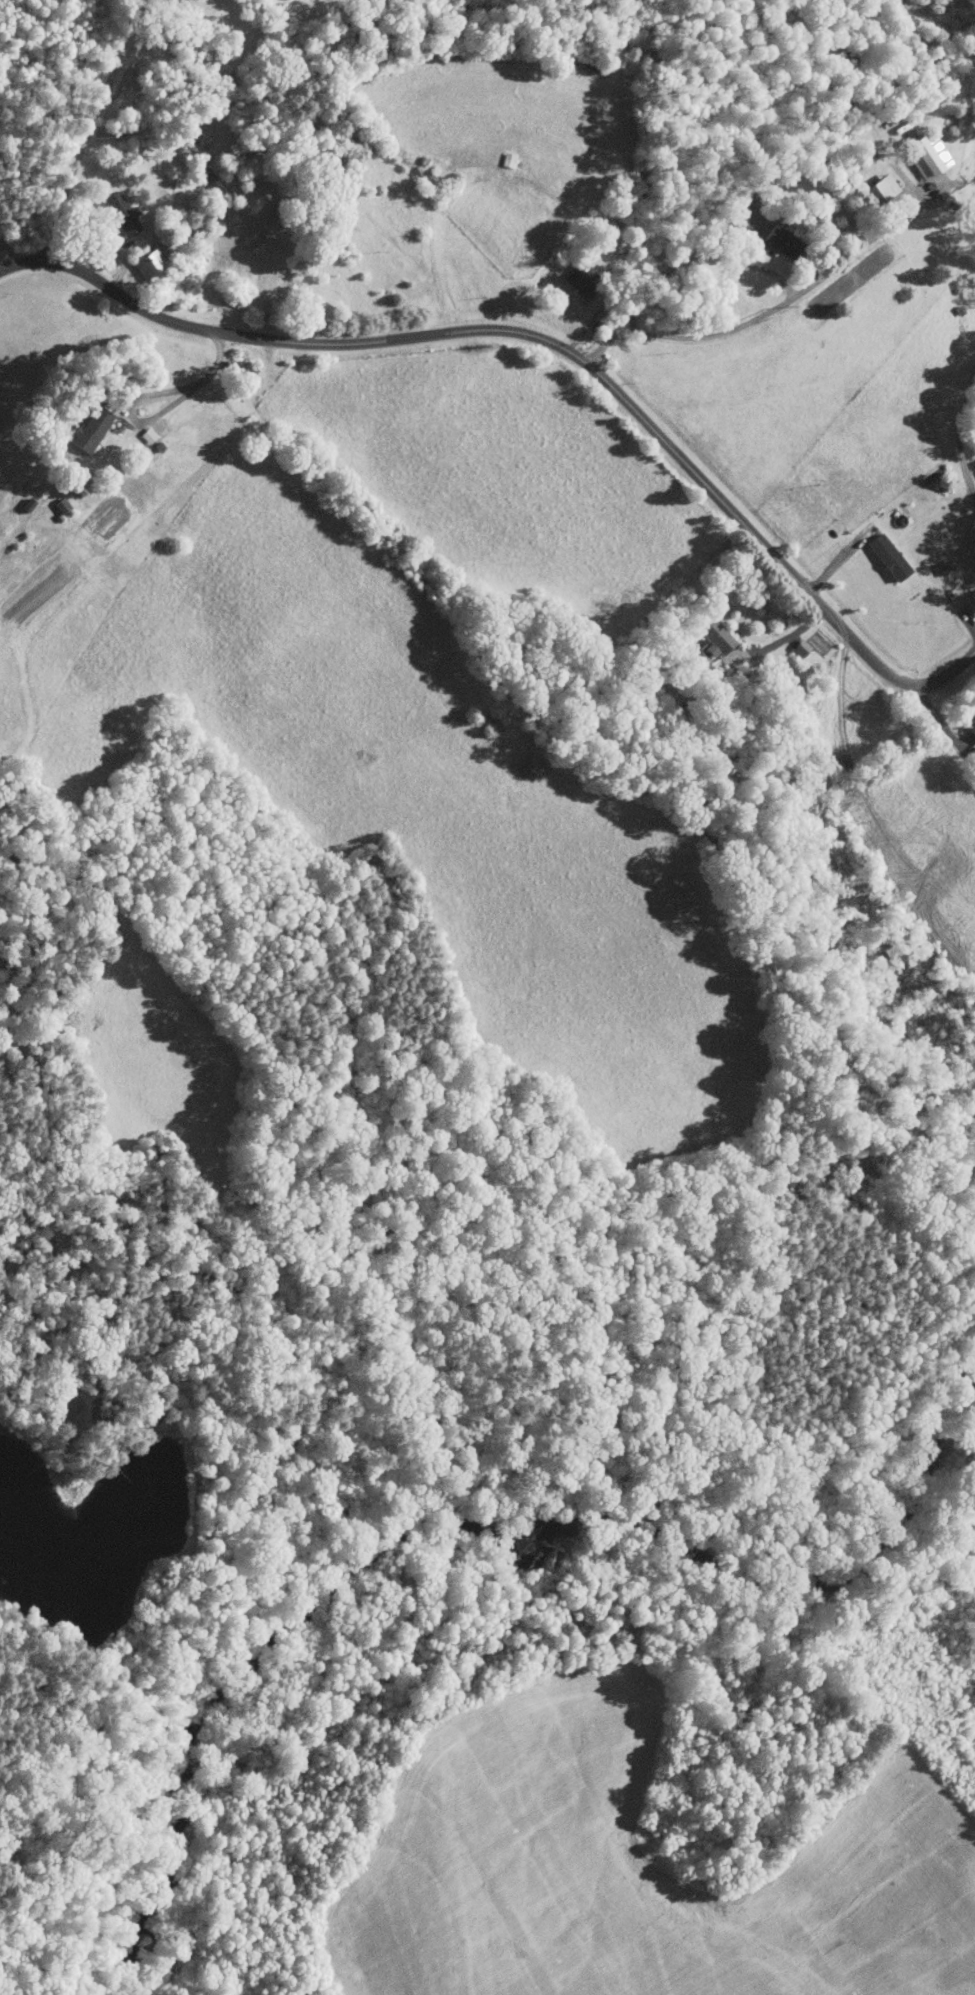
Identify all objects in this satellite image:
road: (86, 131)
building: (925, 155)
building: (881, 189)
building: (119, 213)
road: (702, 237)
building: (779, 241)
building: (147, 264)
building: (580, 281)
road: (758, 319)
road: (551, 342)
road: (196, 386)
building: (87, 430)
building: (147, 435)
road: (960, 437)
building: (887, 557)
building: (713, 636)
road: (785, 639)
road: (944, 727)
building: (972, 730)

